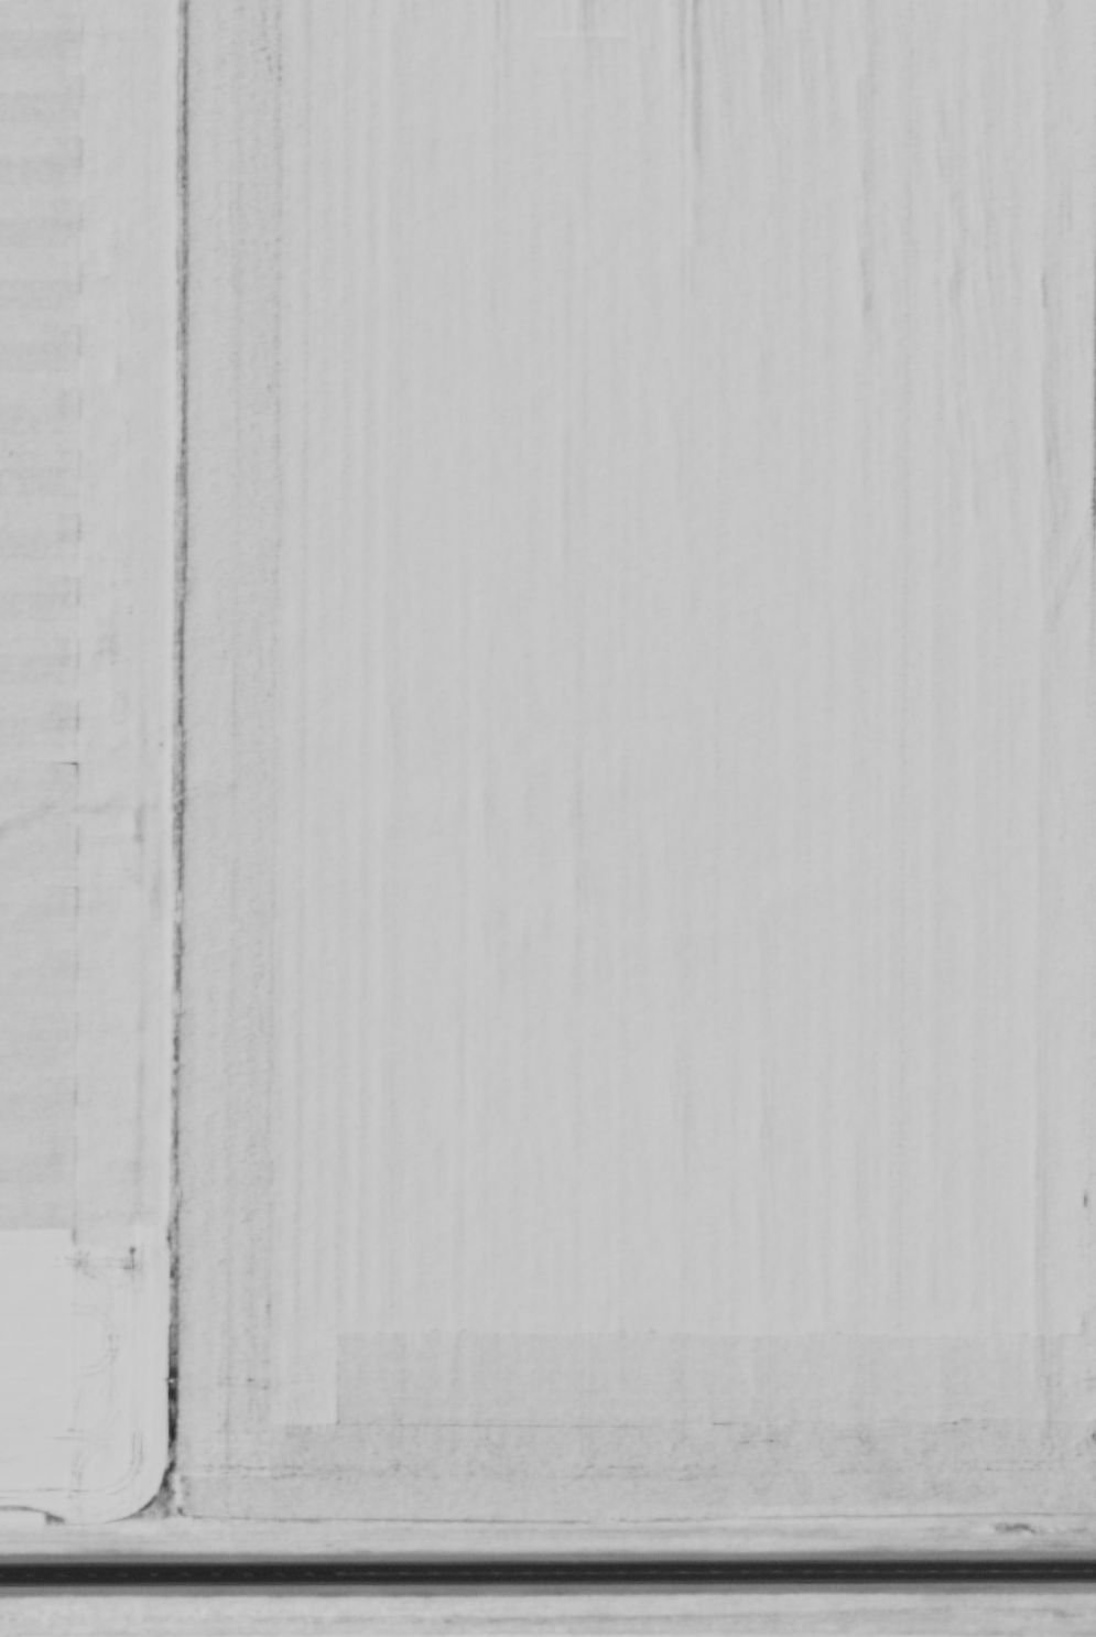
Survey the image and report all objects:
road: (547, 1572)

